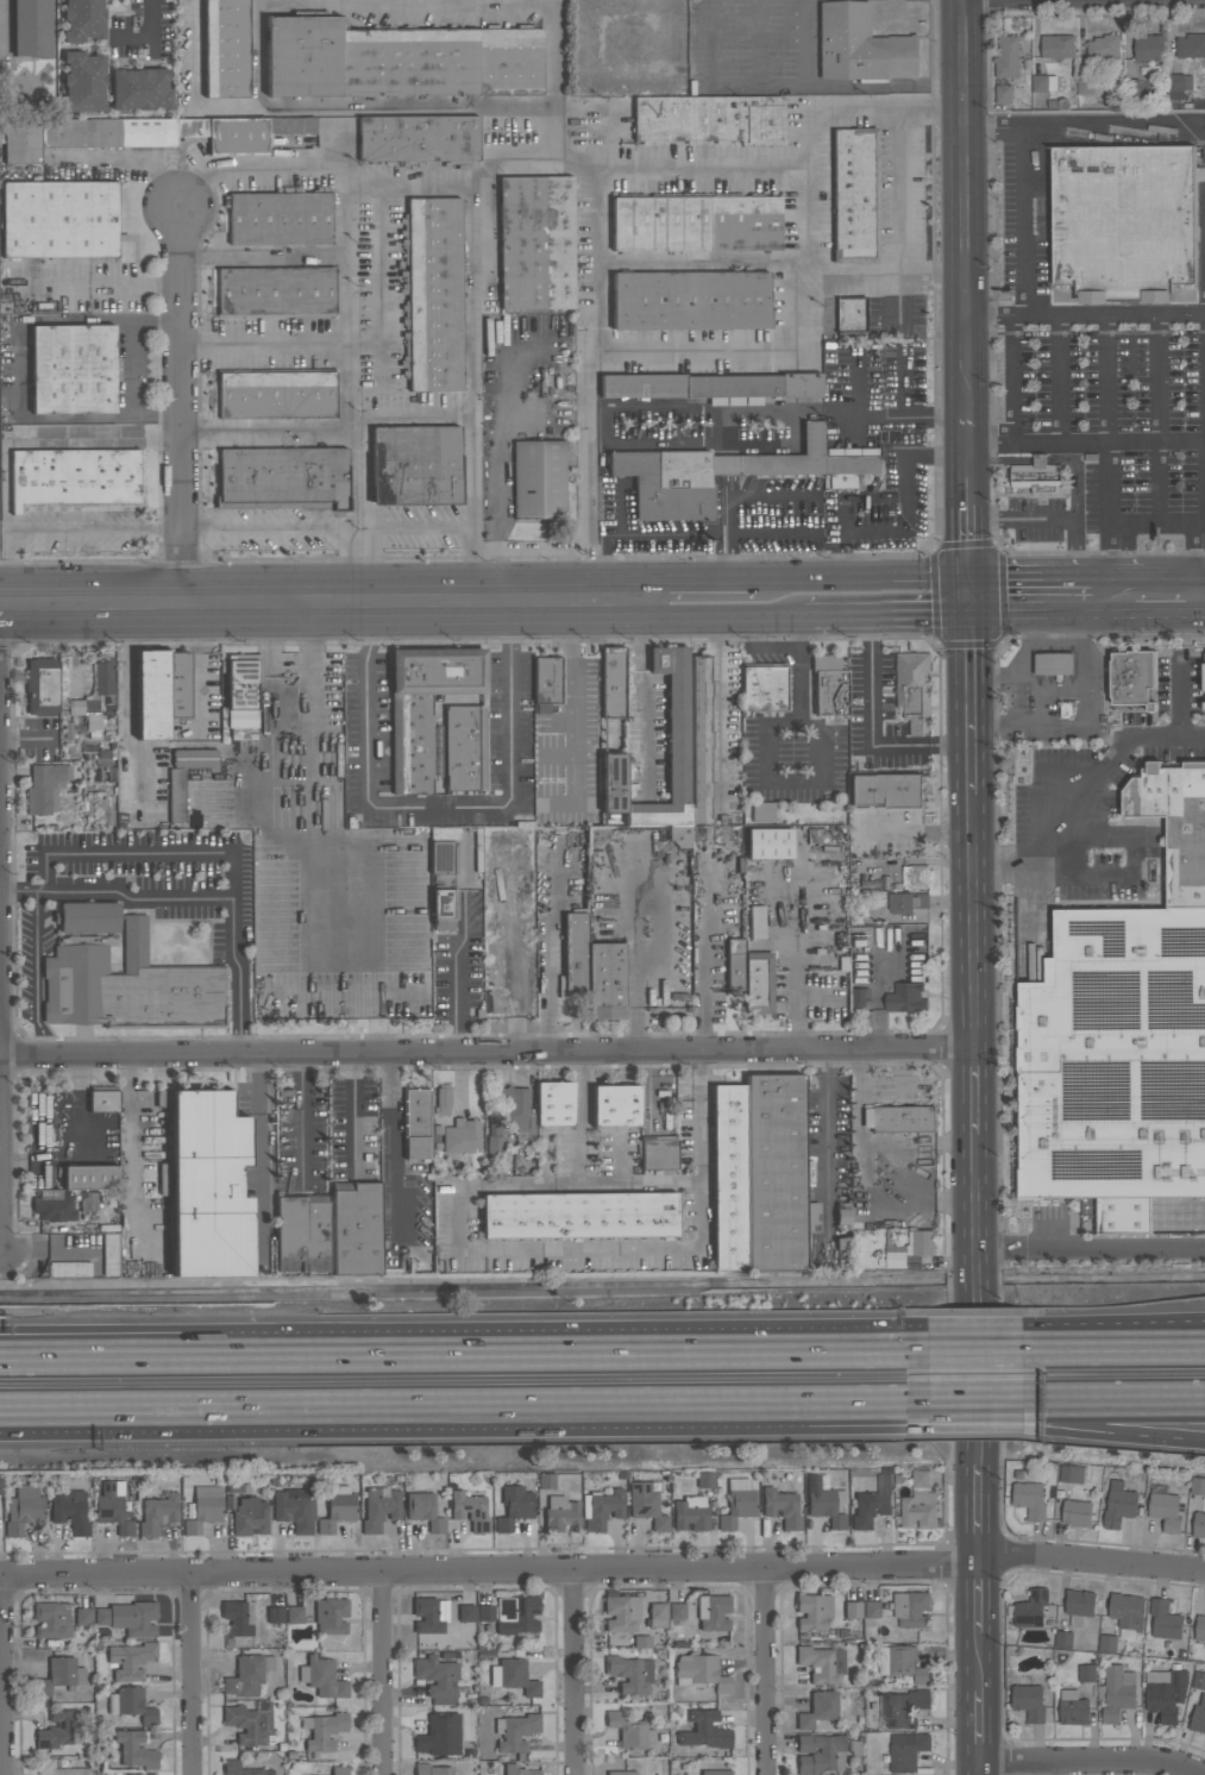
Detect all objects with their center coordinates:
road: (407, 1)
building: (82, 19)
road: (5, 27)
building: (32, 27)
road: (151, 33)
building: (860, 45)
building: (1056, 46)
building: (1191, 46)
building: (225, 48)
building: (1149, 48)
building: (1104, 49)
building: (1006, 56)
road: (261, 57)
building: (398, 59)
building: (83, 81)
road: (552, 81)
road: (193, 83)
building: (1043, 83)
building: (1178, 86)
building: (1088, 87)
building: (139, 88)
road: (846, 88)
building: (1003, 95)
road: (886, 102)
road: (406, 111)
building: (709, 119)
road: (1082, 127)
building: (146, 133)
road: (812, 133)
building: (418, 138)
road: (128, 158)
road: (488, 169)
road: (900, 188)
building: (855, 194)
road: (964, 207)
building: (280, 218)
building: (59, 219)
building: (696, 222)
road: (1027, 222)
building: (1124, 222)
building: (535, 242)
road: (265, 258)
road: (703, 258)
road: (887, 275)
road: (101, 288)
building: (276, 290)
building: (434, 293)
building: (690, 300)
building: (851, 314)
road: (1109, 318)
road: (268, 343)
road: (471, 350)
road: (796, 351)
road: (1013, 357)
road: (127, 369)
road: (23, 370)
building: (74, 370)
road: (594, 381)
building: (710, 385)
road: (357, 387)
building: (277, 394)
road: (182, 401)
road: (904, 418)
road: (271, 432)
road: (747, 443)
road: (1086, 445)
road: (1041, 462)
road: (1000, 463)
building: (415, 464)
building: (724, 472)
road: (1078, 473)
road: (1203, 475)
building: (74, 477)
building: (282, 477)
building: (539, 479)
building: (1040, 481)
road: (1110, 487)
road: (730, 495)
road: (967, 503)
road: (843, 504)
road: (1060, 516)
road: (1200, 522)
road: (275, 525)
road: (1125, 526)
road: (451, 527)
road: (64, 529)
road: (820, 575)
road: (908, 575)
road: (747, 576)
road: (780, 576)
road: (678, 577)
road: (1057, 591)
road: (1085, 591)
road: (1106, 591)
road: (1130, 591)
road: (1162, 591)
road: (1194, 591)
traffic signals: (968, 592)
road: (1003, 592)
road: (320, 597)
road: (885, 615)
road: (715, 617)
road: (1059, 646)
road: (1028, 654)
building: (1053, 665)
building: (103, 676)
building: (1134, 679)
building: (547, 682)
building: (613, 682)
building: (914, 684)
building: (829, 685)
building: (1204, 685)
building: (42, 686)
building: (764, 688)
building: (241, 689)
building: (161, 691)
road: (641, 694)
road: (969, 694)
road: (1179, 696)
road: (1013, 701)
building: (425, 705)
road: (571, 705)
road: (718, 710)
building: (86, 711)
road: (1084, 713)
road: (861, 736)
road: (766, 745)
building: (464, 747)
building: (671, 747)
building: (194, 758)
building: (45, 788)
building: (886, 790)
building: (176, 795)
road: (1085, 802)
road: (437, 805)
building: (762, 811)
building: (1175, 826)
road: (914, 836)
building: (768, 843)
road: (142, 853)
building: (443, 857)
building: (916, 876)
road: (117, 892)
building: (905, 903)
building: (443, 908)
building: (87, 916)
road: (972, 920)
building: (755, 922)
road: (777, 926)
road: (640, 958)
road: (705, 968)
road: (452, 970)
building: (592, 971)
road: (37, 974)
road: (239, 974)
road: (548, 974)
building: (749, 974)
building: (132, 986)
road: (878, 992)
road: (816, 996)
building: (858, 996)
building: (905, 997)
road: (797, 1009)
road: (487, 1050)
building: (1116, 1059)
road: (973, 1090)
road: (648, 1091)
building: (443, 1099)
building: (103, 1100)
building: (553, 1103)
building: (616, 1105)
building: (516, 1111)
road: (353, 1114)
road: (302, 1117)
road: (579, 1118)
building: (899, 1118)
building: (415, 1122)
building: (462, 1136)
road: (824, 1139)
road: (130, 1140)
road: (258, 1142)
road: (393, 1146)
building: (659, 1154)
building: (776, 1174)
building: (92, 1177)
building: (728, 1178)
building: (207, 1187)
building: (54, 1205)
building: (579, 1215)
building: (842, 1216)
building: (1150, 1216)
building: (354, 1230)
building: (302, 1236)
road: (527, 1250)
road: (1088, 1250)
building: (109, 1254)
building: (69, 1269)
road: (973, 1300)
road: (1115, 1323)
road: (980, 1331)
road: (83, 1341)
road: (870, 1341)
road: (83, 1348)
road: (485, 1348)
road: (868, 1348)
road: (979, 1348)
road: (1115, 1348)
road: (1115, 1406)
road: (979, 1407)
road: (900, 1409)
road: (508, 1411)
road: (899, 1412)
road: (74, 1413)
road: (74, 1418)
road: (978, 1422)
road: (1115, 1432)
building: (1071, 1474)
building: (705, 1479)
building: (547, 1480)
building: (920, 1480)
building: (0, 1485)
building: (1197, 1486)
building: (1029, 1500)
building: (738, 1501)
building: (872, 1501)
building: (823, 1503)
building: (646, 1504)
building: (783, 1504)
building: (1118, 1505)
building: (514, 1506)
building: (113, 1507)
building: (379, 1507)
building: (602, 1507)
building: (24, 1509)
building: (203, 1509)
building: (295, 1509)
building: (337, 1509)
building: (423, 1510)
building: (470, 1510)
building: (918, 1510)
building: (69, 1511)
building: (1165, 1511)
building: (691, 1512)
building: (157, 1513)
building: (560, 1513)
road: (975, 1513)
building: (1075, 1513)
building: (250, 1516)
building: (1198, 1525)
road: (1090, 1561)
road: (488, 1569)
road: (977, 1598)
building: (1079, 1606)
building: (872, 1608)
building: (812, 1610)
building: (853, 1610)
building: (910, 1610)
building: (1031, 1610)
building: (677, 1611)
building: (1126, 1611)
building: (485, 1612)
building: (713, 1612)
building: (294, 1613)
building: (621, 1613)
building: (275, 1614)
building: (331, 1614)
building: (429, 1614)
building: (516, 1614)
building: (658, 1614)
building: (83, 1616)
building: (128, 1617)
building: (239, 1617)
building: (52, 1619)
building: (466, 1619)
building: (1165, 1619)
building: (1199, 1629)
building: (1063, 1641)
building: (1107, 1644)
building: (1204, 1647)
building: (130, 1660)
road: (977, 1662)
building: (822, 1663)
building: (902, 1663)
road: (377, 1671)
road: (572, 1671)
building: (699, 1671)
road: (760, 1673)
building: (630, 1674)
building: (1086, 1674)
road: (2, 1675)
building: (58, 1675)
road: (190, 1675)
building: (246, 1675)
building: (321, 1676)
building: (514, 1676)
building: (438, 1677)
building: (1198, 1680)
building: (1117, 1693)
building: (1165, 1693)
building: (1028, 1702)
building: (131, 1704)
building: (821, 1708)
building: (903, 1708)
building: (1072, 1708)
building: (1198, 1717)
building: (247, 1723)
road: (977, 1726)
building: (58, 1729)
building: (324, 1730)
building: (629, 1730)
building: (704, 1730)
building: (515, 1731)
building: (439, 1735)
building: (136, 1749)
building: (905, 1751)
building: (820, 1754)
road: (1092, 1761)
building: (231, 1763)
road: (1018, 1768)
building: (58, 1769)
building: (432, 1769)
road: (978, 1769)
building: (339, 1770)
building: (519, 1770)
building: (716, 1771)
building: (621, 1773)
building: (142, 1774)

